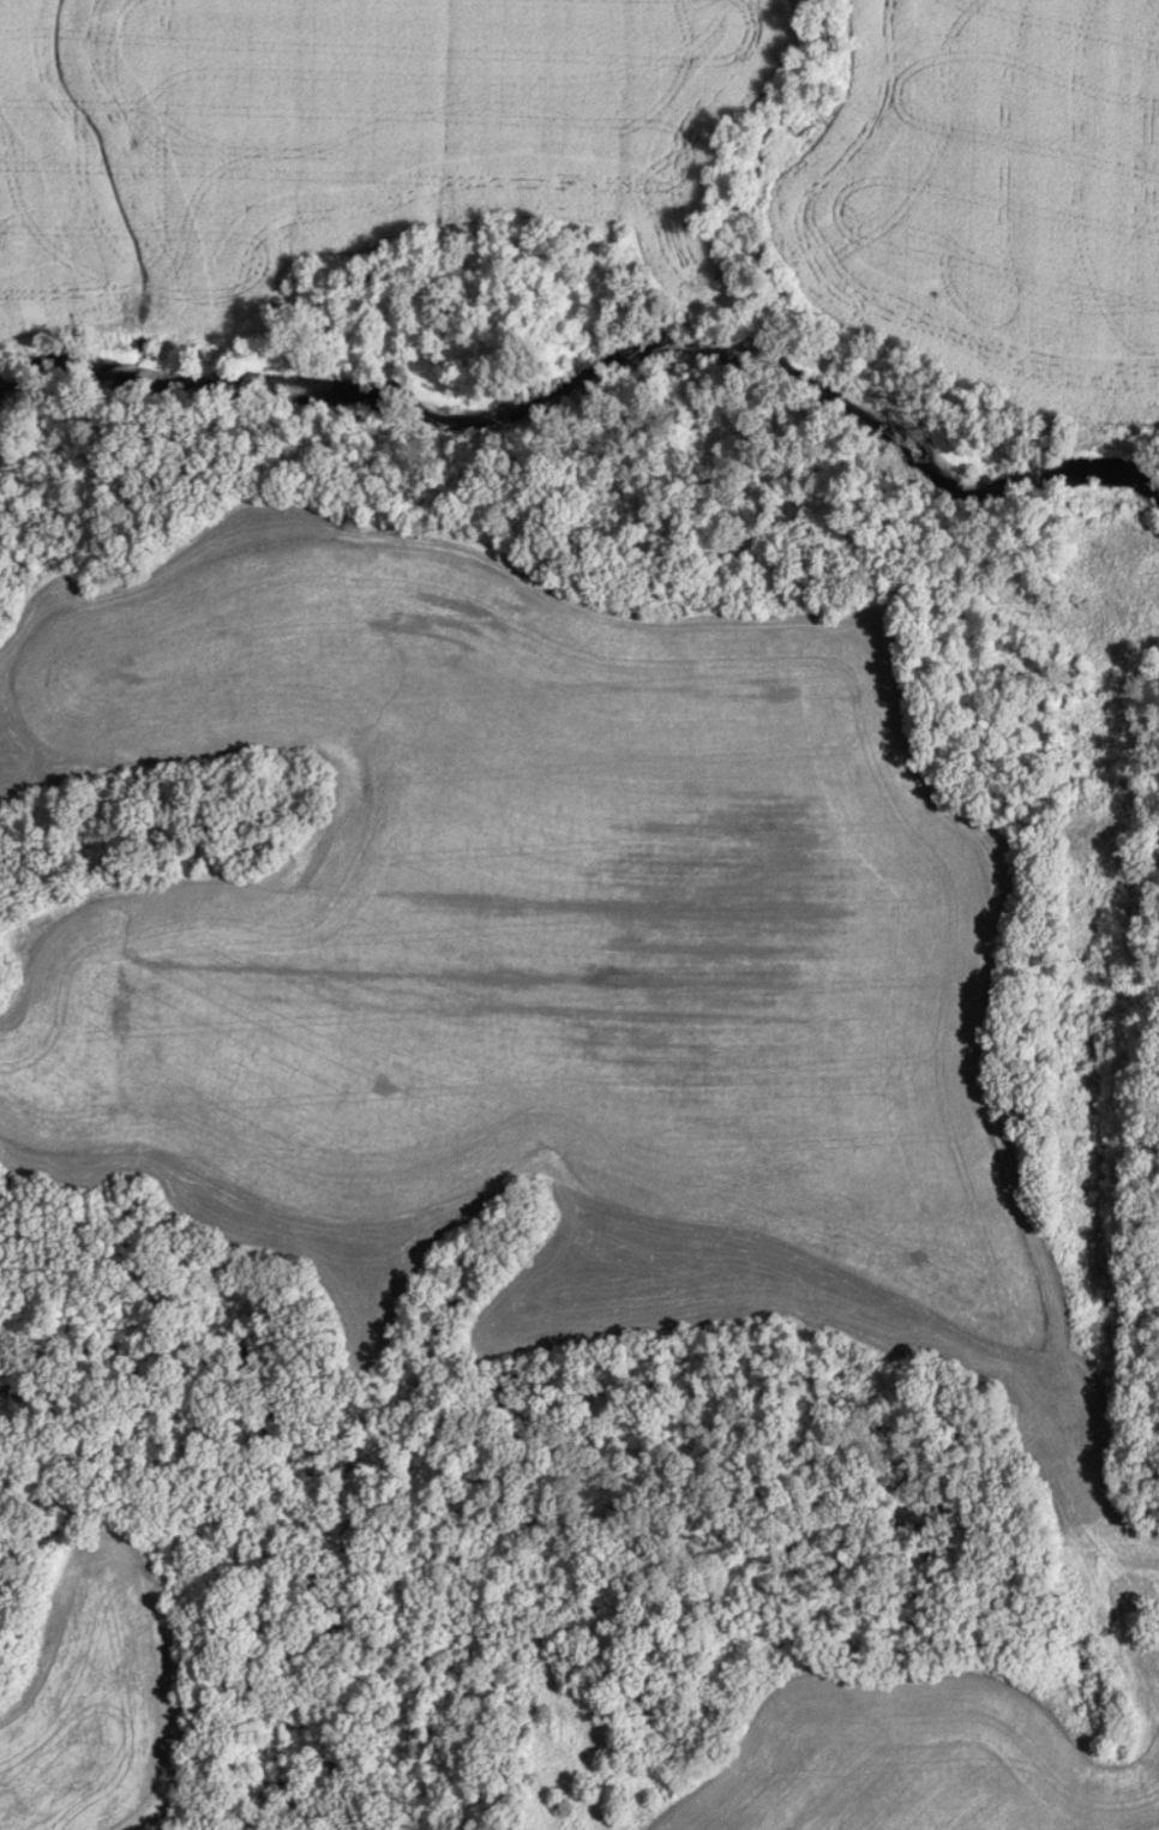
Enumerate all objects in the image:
crop: (89, 1690)

